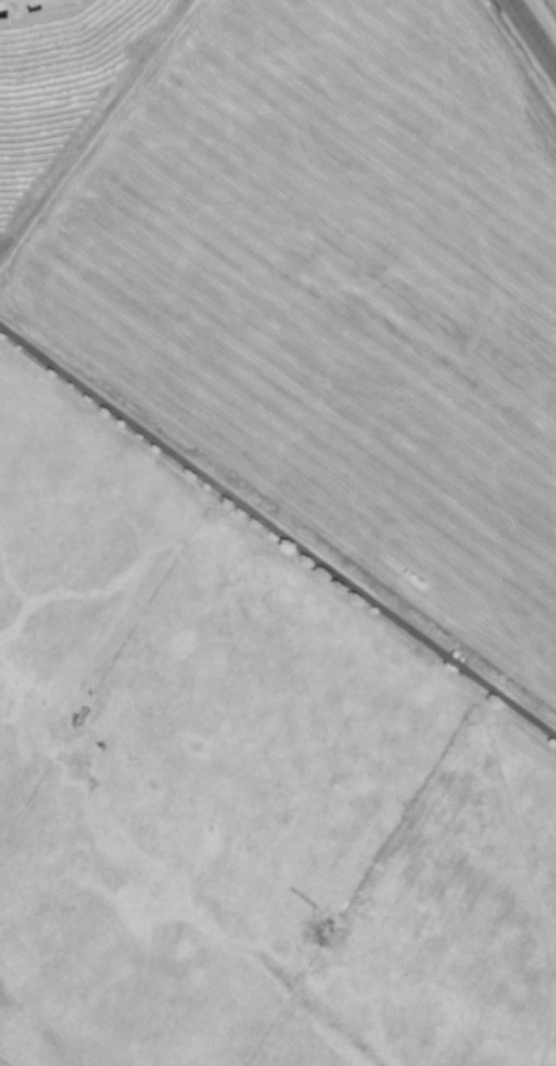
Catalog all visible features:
road: (532, 34)
road: (278, 531)

